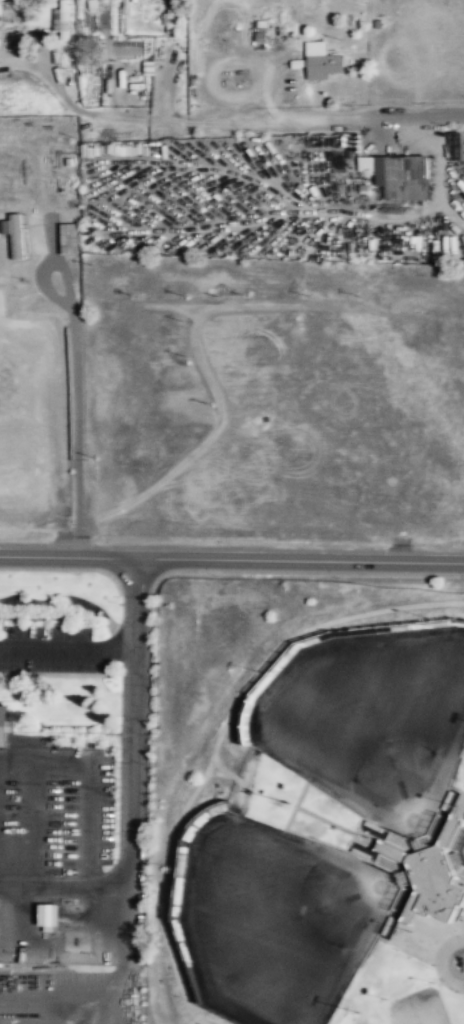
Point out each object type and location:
building: (173, 14)
building: (380, 14)
building: (61, 20)
building: (259, 37)
building: (313, 48)
building: (321, 66)
building: (147, 68)
road: (347, 118)
building: (395, 175)
building: (13, 235)
building: (69, 238)
building: (20, 477)
road: (231, 560)
road: (302, 572)
parking lot: (49, 649)
road: (66, 650)
park: (370, 719)
building: (4, 725)
road: (454, 774)
road: (90, 780)
road: (131, 782)
road: (459, 805)
parking lot: (55, 812)
road: (31, 825)
road: (321, 841)
park: (461, 850)
building: (429, 875)
building: (46, 917)
park: (275, 919)
road: (421, 951)
road: (441, 962)

